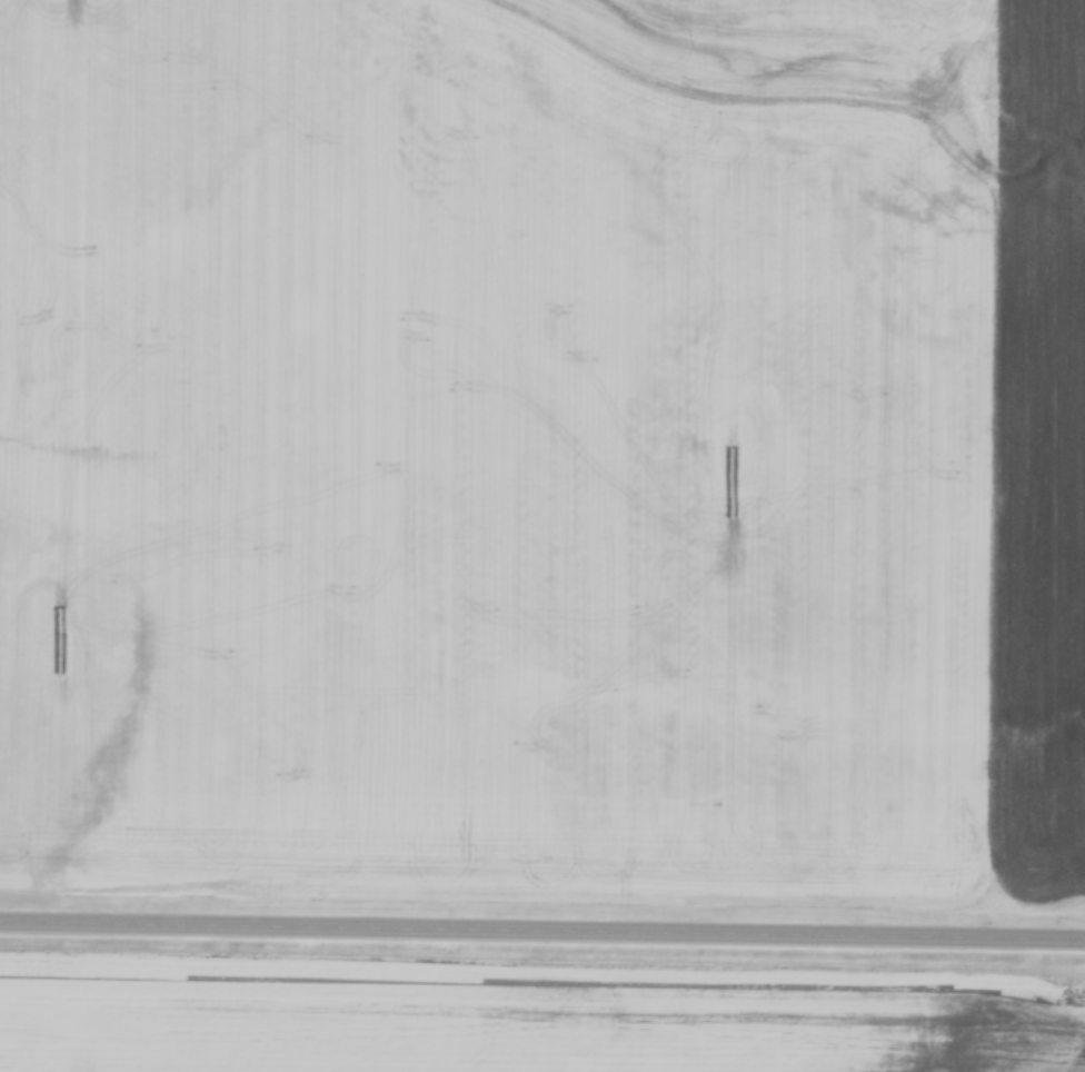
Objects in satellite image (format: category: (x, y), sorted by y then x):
road: (541, 940)

